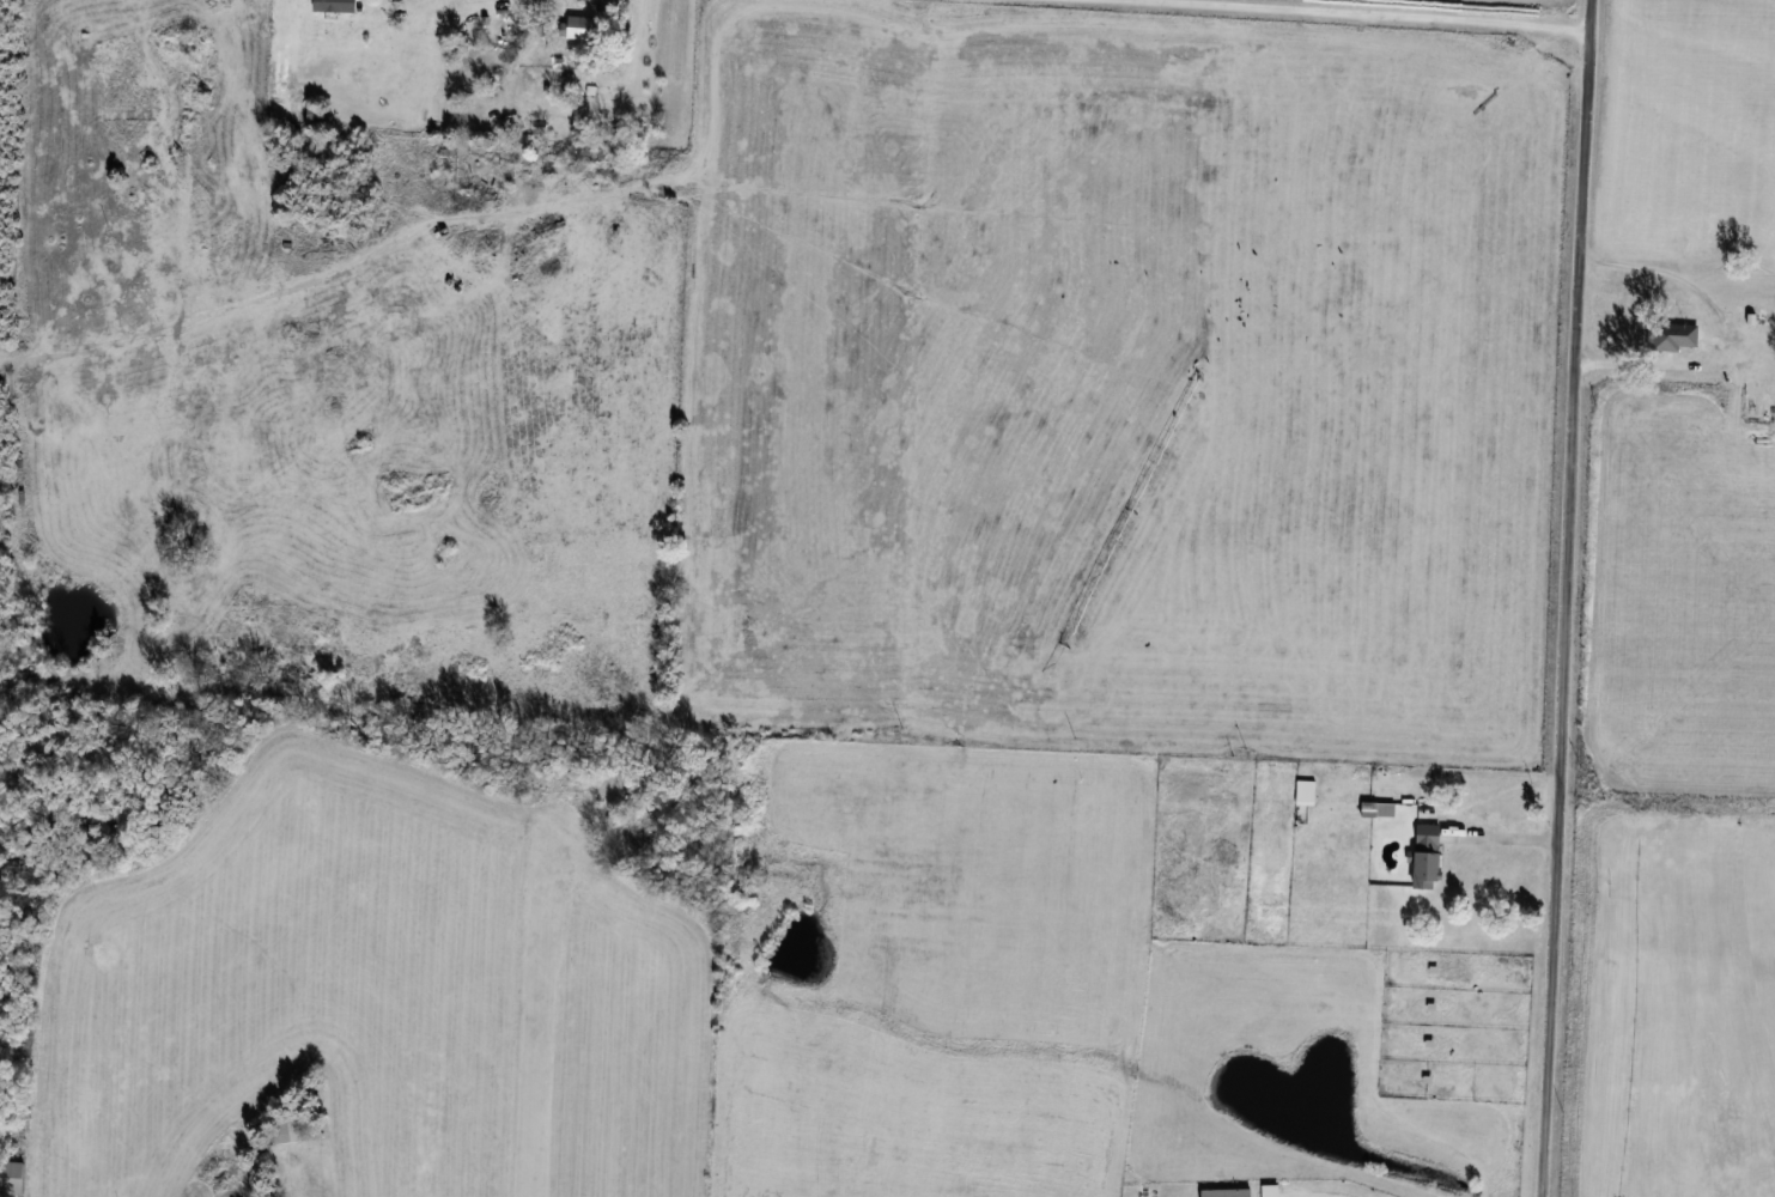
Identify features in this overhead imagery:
building: (336, 6)
road: (1381, 12)
building: (579, 28)
building: (316, 114)
building: (1767, 317)
building: (1674, 334)
building: (1770, 371)
road: (1566, 597)
building: (1307, 791)
road: (1501, 834)
building: (1430, 855)
airport runway: (534, 1003)
building: (291, 1130)
airport hangar: (12, 1174)
building: (13, 1175)

